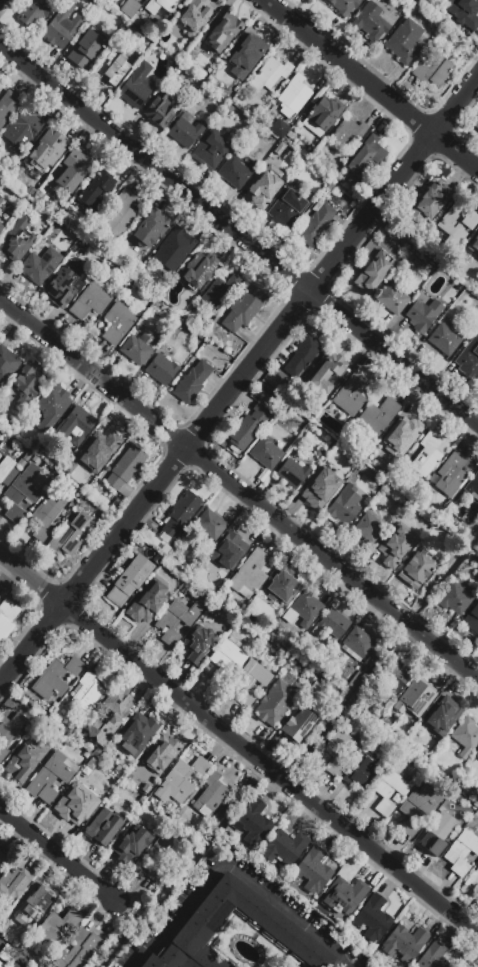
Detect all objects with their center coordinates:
building: (161, 6)
building: (344, 6)
building: (128, 7)
building: (35, 10)
building: (463, 12)
building: (193, 17)
building: (371, 21)
building: (62, 26)
building: (224, 32)
building: (404, 41)
building: (86, 47)
building: (180, 53)
building: (245, 55)
building: (189, 57)
building: (111, 69)
building: (434, 70)
building: (269, 74)
road: (371, 83)
building: (135, 86)
building: (293, 95)
building: (8, 105)
building: (160, 112)
building: (322, 116)
building: (476, 123)
building: (279, 128)
building: (21, 131)
building: (183, 132)
building: (348, 132)
building: (44, 151)
building: (210, 151)
building: (365, 156)
building: (74, 171)
building: (234, 173)
building: (265, 186)
building: (96, 191)
building: (1, 198)
building: (430, 200)
building: (287, 208)
building: (121, 214)
building: (316, 224)
building: (457, 225)
building: (1, 226)
building: (149, 231)
building: (1, 232)
road: (238, 233)
building: (17, 240)
building: (473, 244)
building: (174, 250)
road: (331, 261)
building: (39, 266)
building: (198, 270)
building: (373, 272)
building: (60, 286)
building: (217, 294)
building: (392, 299)
building: (90, 301)
building: (243, 308)
building: (423, 315)
building: (117, 323)
building: (445, 338)
building: (137, 349)
building: (301, 355)
building: (469, 358)
building: (7, 364)
building: (332, 366)
building: (161, 369)
road: (92, 373)
building: (192, 382)
building: (477, 387)
building: (28, 389)
building: (351, 394)
building: (52, 407)
building: (378, 415)
building: (74, 426)
building: (249, 426)
building: (401, 436)
building: (103, 443)
building: (266, 452)
building: (427, 454)
building: (5, 467)
building: (125, 469)
building: (292, 473)
building: (451, 474)
building: (472, 485)
building: (321, 487)
building: (0, 490)
building: (21, 491)
building: (345, 505)
building: (180, 514)
building: (45, 516)
building: (210, 524)
building: (367, 528)
building: (72, 534)
building: (395, 545)
building: (231, 550)
road: (331, 561)
road: (93, 564)
building: (415, 571)
building: (248, 574)
building: (129, 580)
building: (282, 588)
building: (455, 599)
building: (147, 603)
building: (306, 607)
building: (7, 618)
building: (471, 618)
building: (177, 620)
building: (331, 625)
building: (360, 643)
building: (201, 644)
building: (225, 659)
building: (394, 676)
building: (56, 677)
building: (250, 681)
building: (87, 692)
building: (415, 698)
building: (277, 701)
building: (108, 715)
building: (443, 715)
building: (298, 724)
building: (9, 730)
building: (136, 734)
building: (466, 736)
road: (238, 743)
building: (339, 751)
building: (161, 753)
building: (476, 757)
building: (23, 761)
building: (362, 772)
building: (49, 778)
building: (180, 779)
building: (389, 791)
building: (209, 795)
building: (418, 806)
building: (68, 811)
building: (252, 822)
building: (101, 827)
building: (437, 832)
building: (131, 846)
building: (284, 847)
building: (462, 851)
building: (163, 853)
road: (57, 855)
building: (2, 858)
road: (230, 868)
building: (313, 870)
building: (472, 881)
building: (12, 882)
building: (344, 895)
building: (33, 907)
building: (373, 917)
building: (271, 922)
building: (57, 927)
building: (404, 942)
building: (79, 949)
building: (6, 952)
building: (432, 957)
building: (170, 958)
building: (1, 965)
building: (14, 965)

